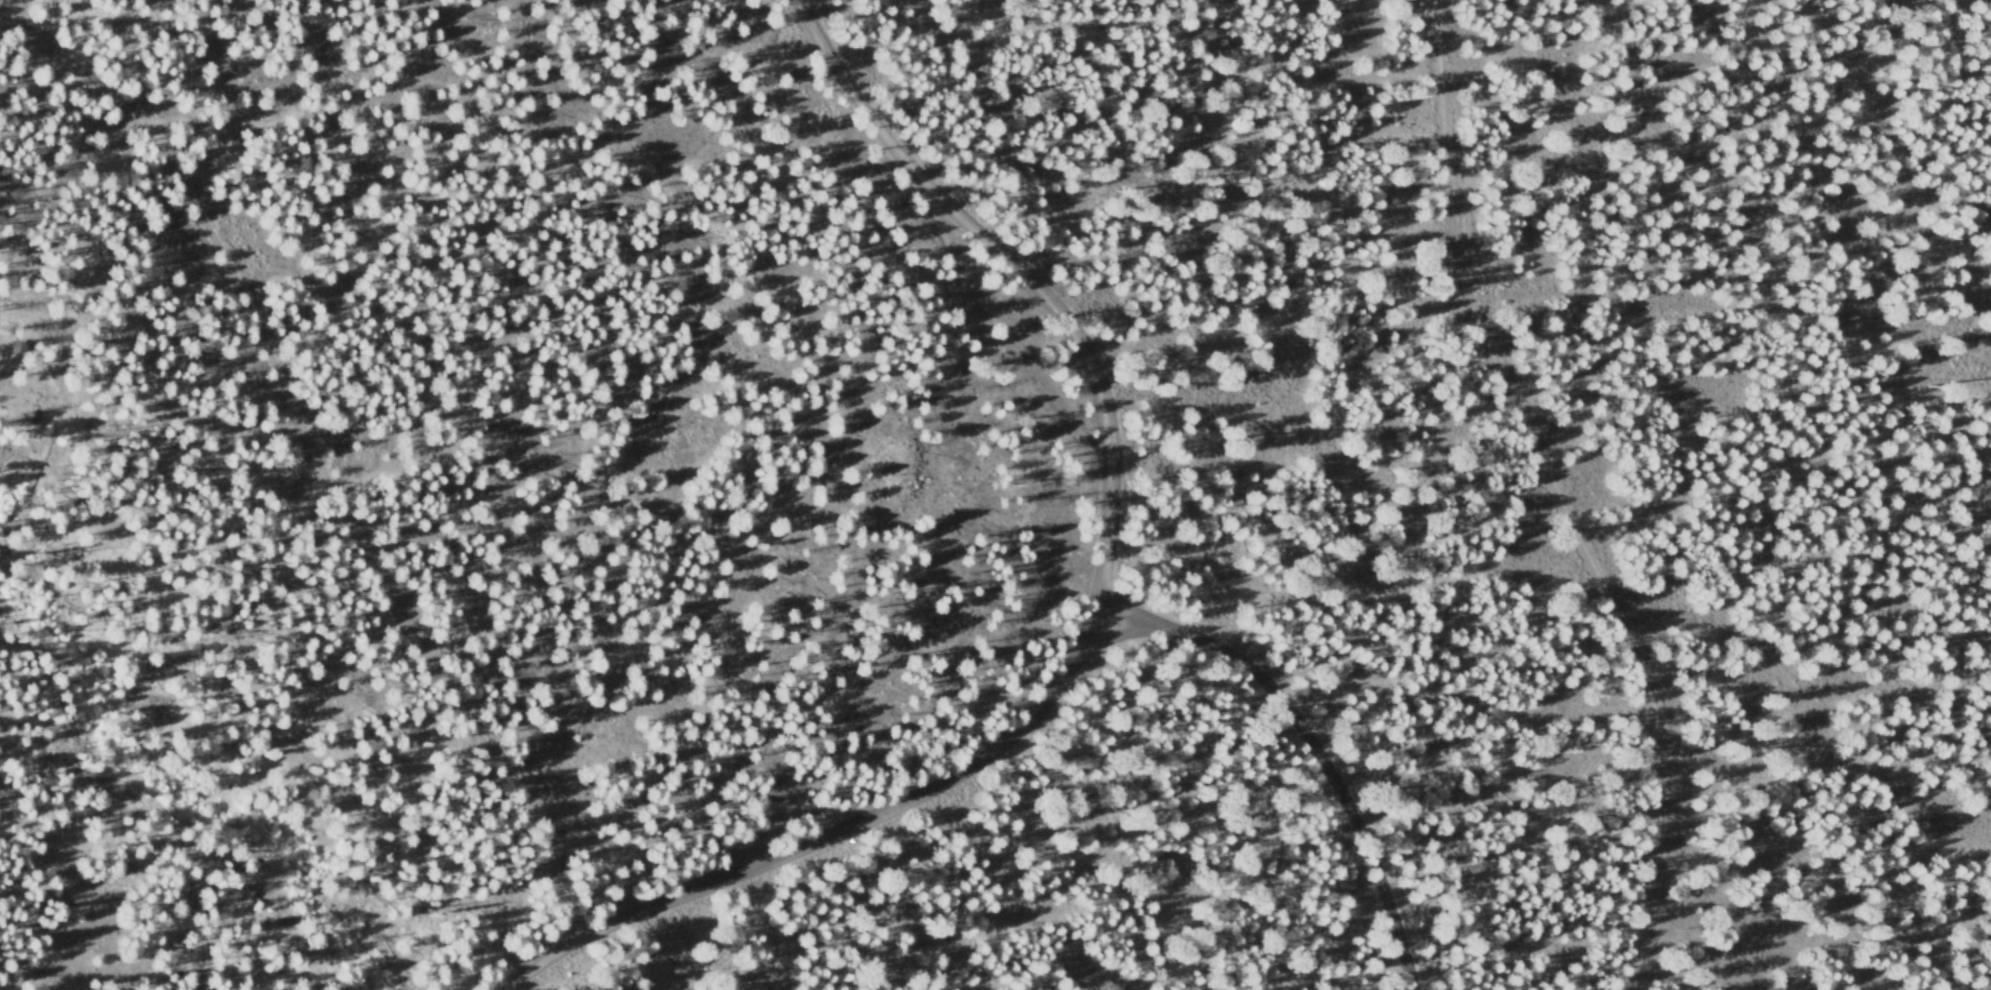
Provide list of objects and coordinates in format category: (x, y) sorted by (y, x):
road: (796, 6)
road: (317, 457)
road: (1574, 495)
road: (1094, 610)
road: (1295, 758)

